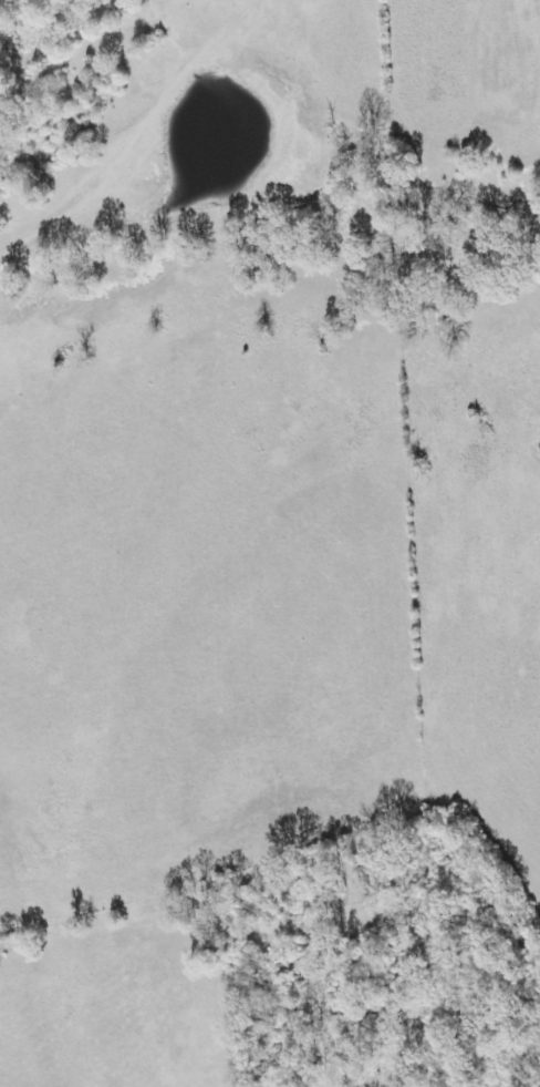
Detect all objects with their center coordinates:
road: (294, 373)
road: (160, 818)

